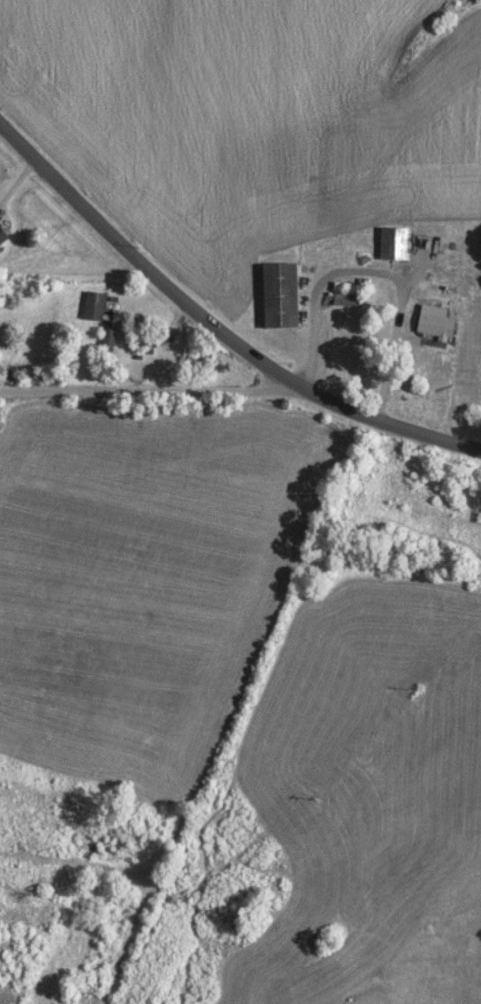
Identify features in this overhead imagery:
building: (3, 234)
building: (394, 241)
road: (378, 272)
building: (282, 294)
building: (348, 297)
building: (95, 304)
road: (214, 320)
building: (437, 325)
building: (111, 335)
road: (155, 390)

